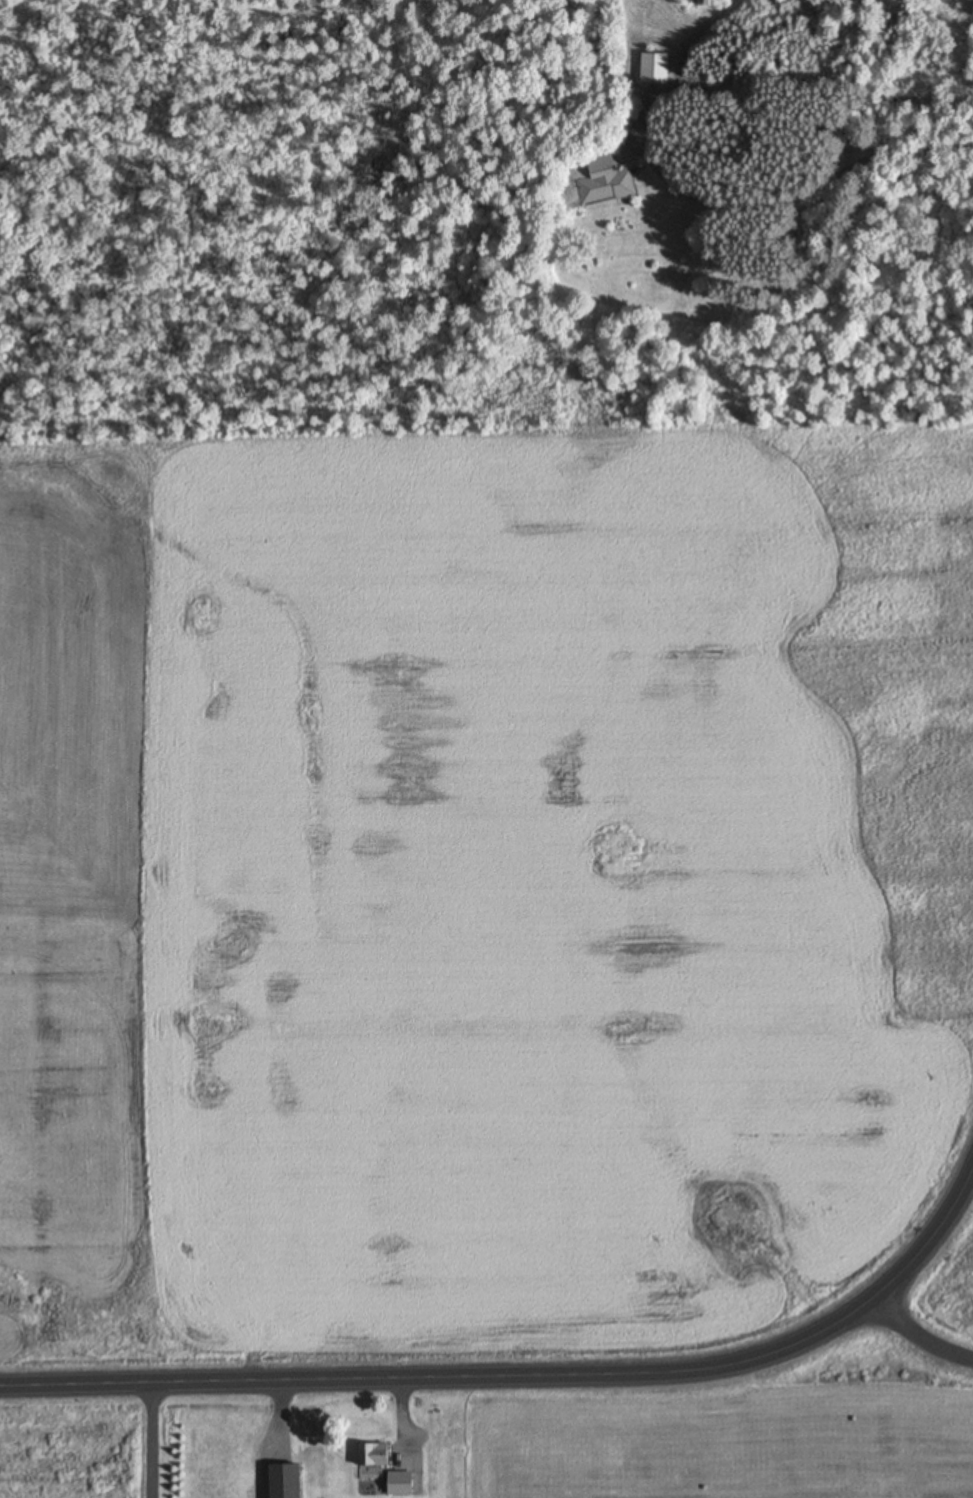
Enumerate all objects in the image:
building: (655, 69)
building: (604, 182)
road: (930, 1240)
road: (918, 1338)
road: (444, 1379)
building: (373, 1455)
building: (281, 1480)
building: (396, 1484)

